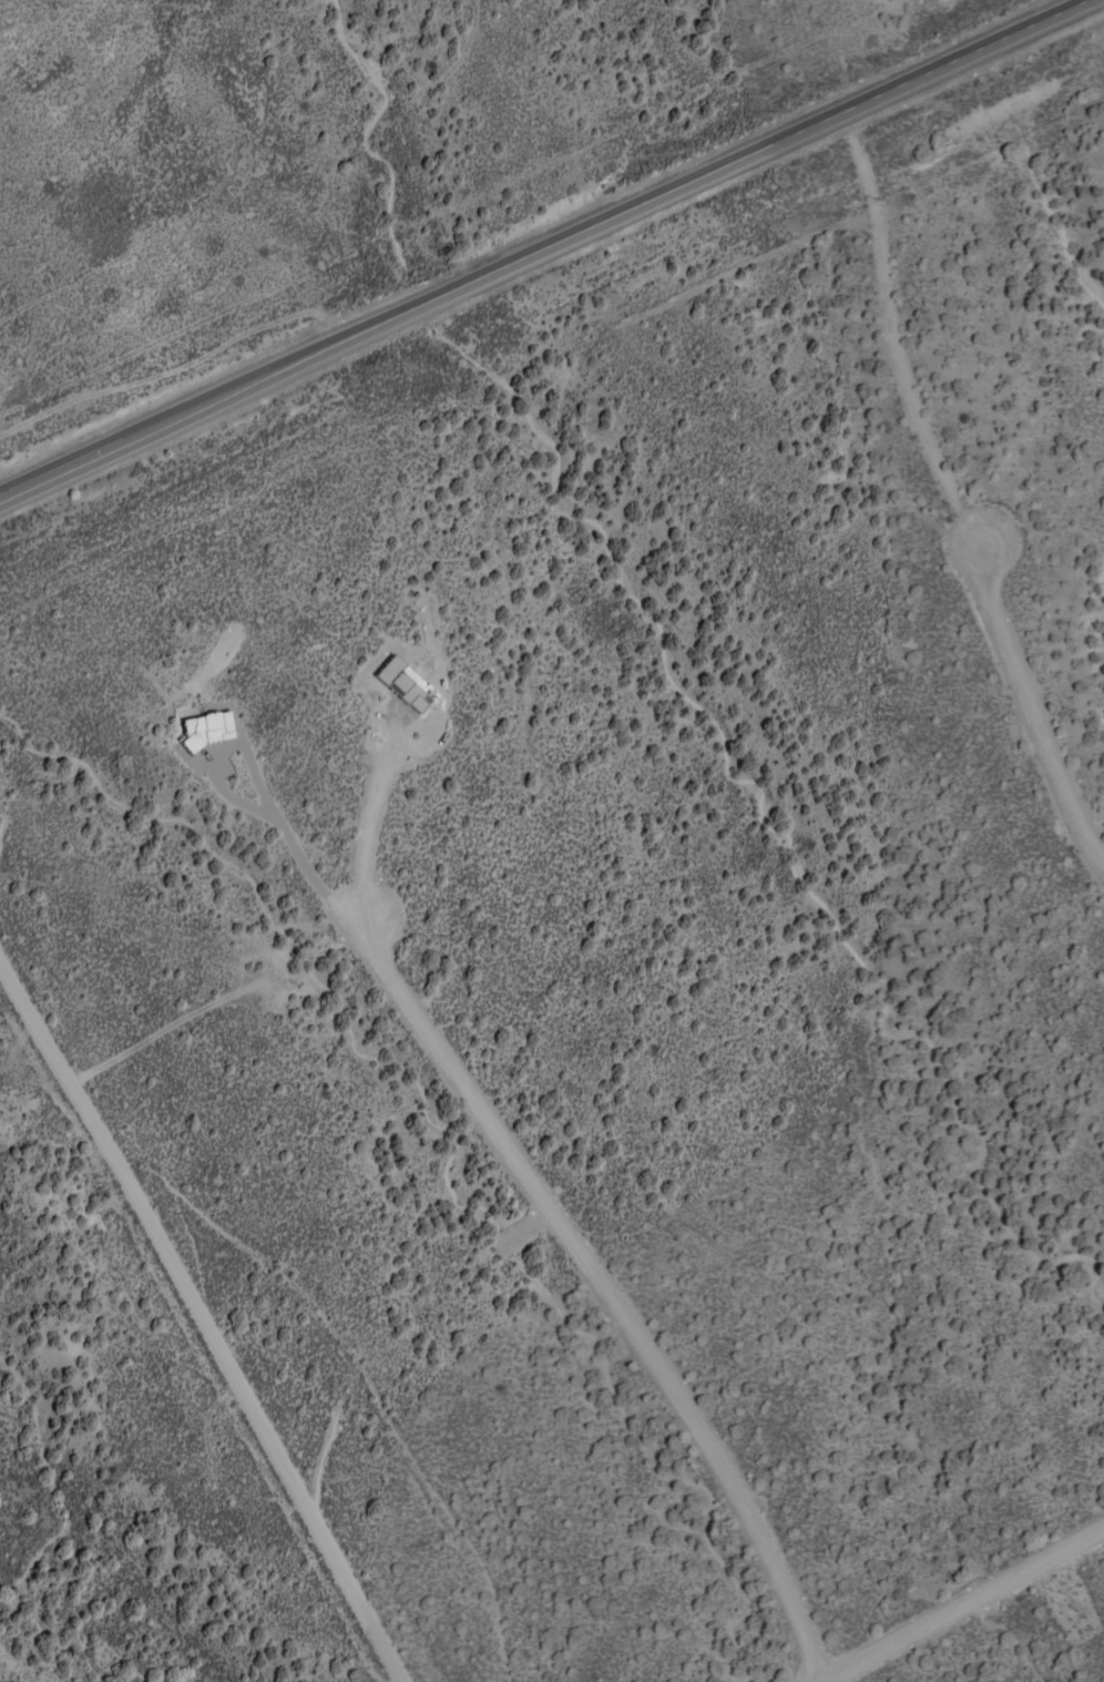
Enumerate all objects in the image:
road: (540, 248)
building: (405, 682)
road: (1036, 703)
building: (208, 727)
road: (605, 1288)
road: (201, 1316)
road: (961, 1602)
road: (821, 1681)

